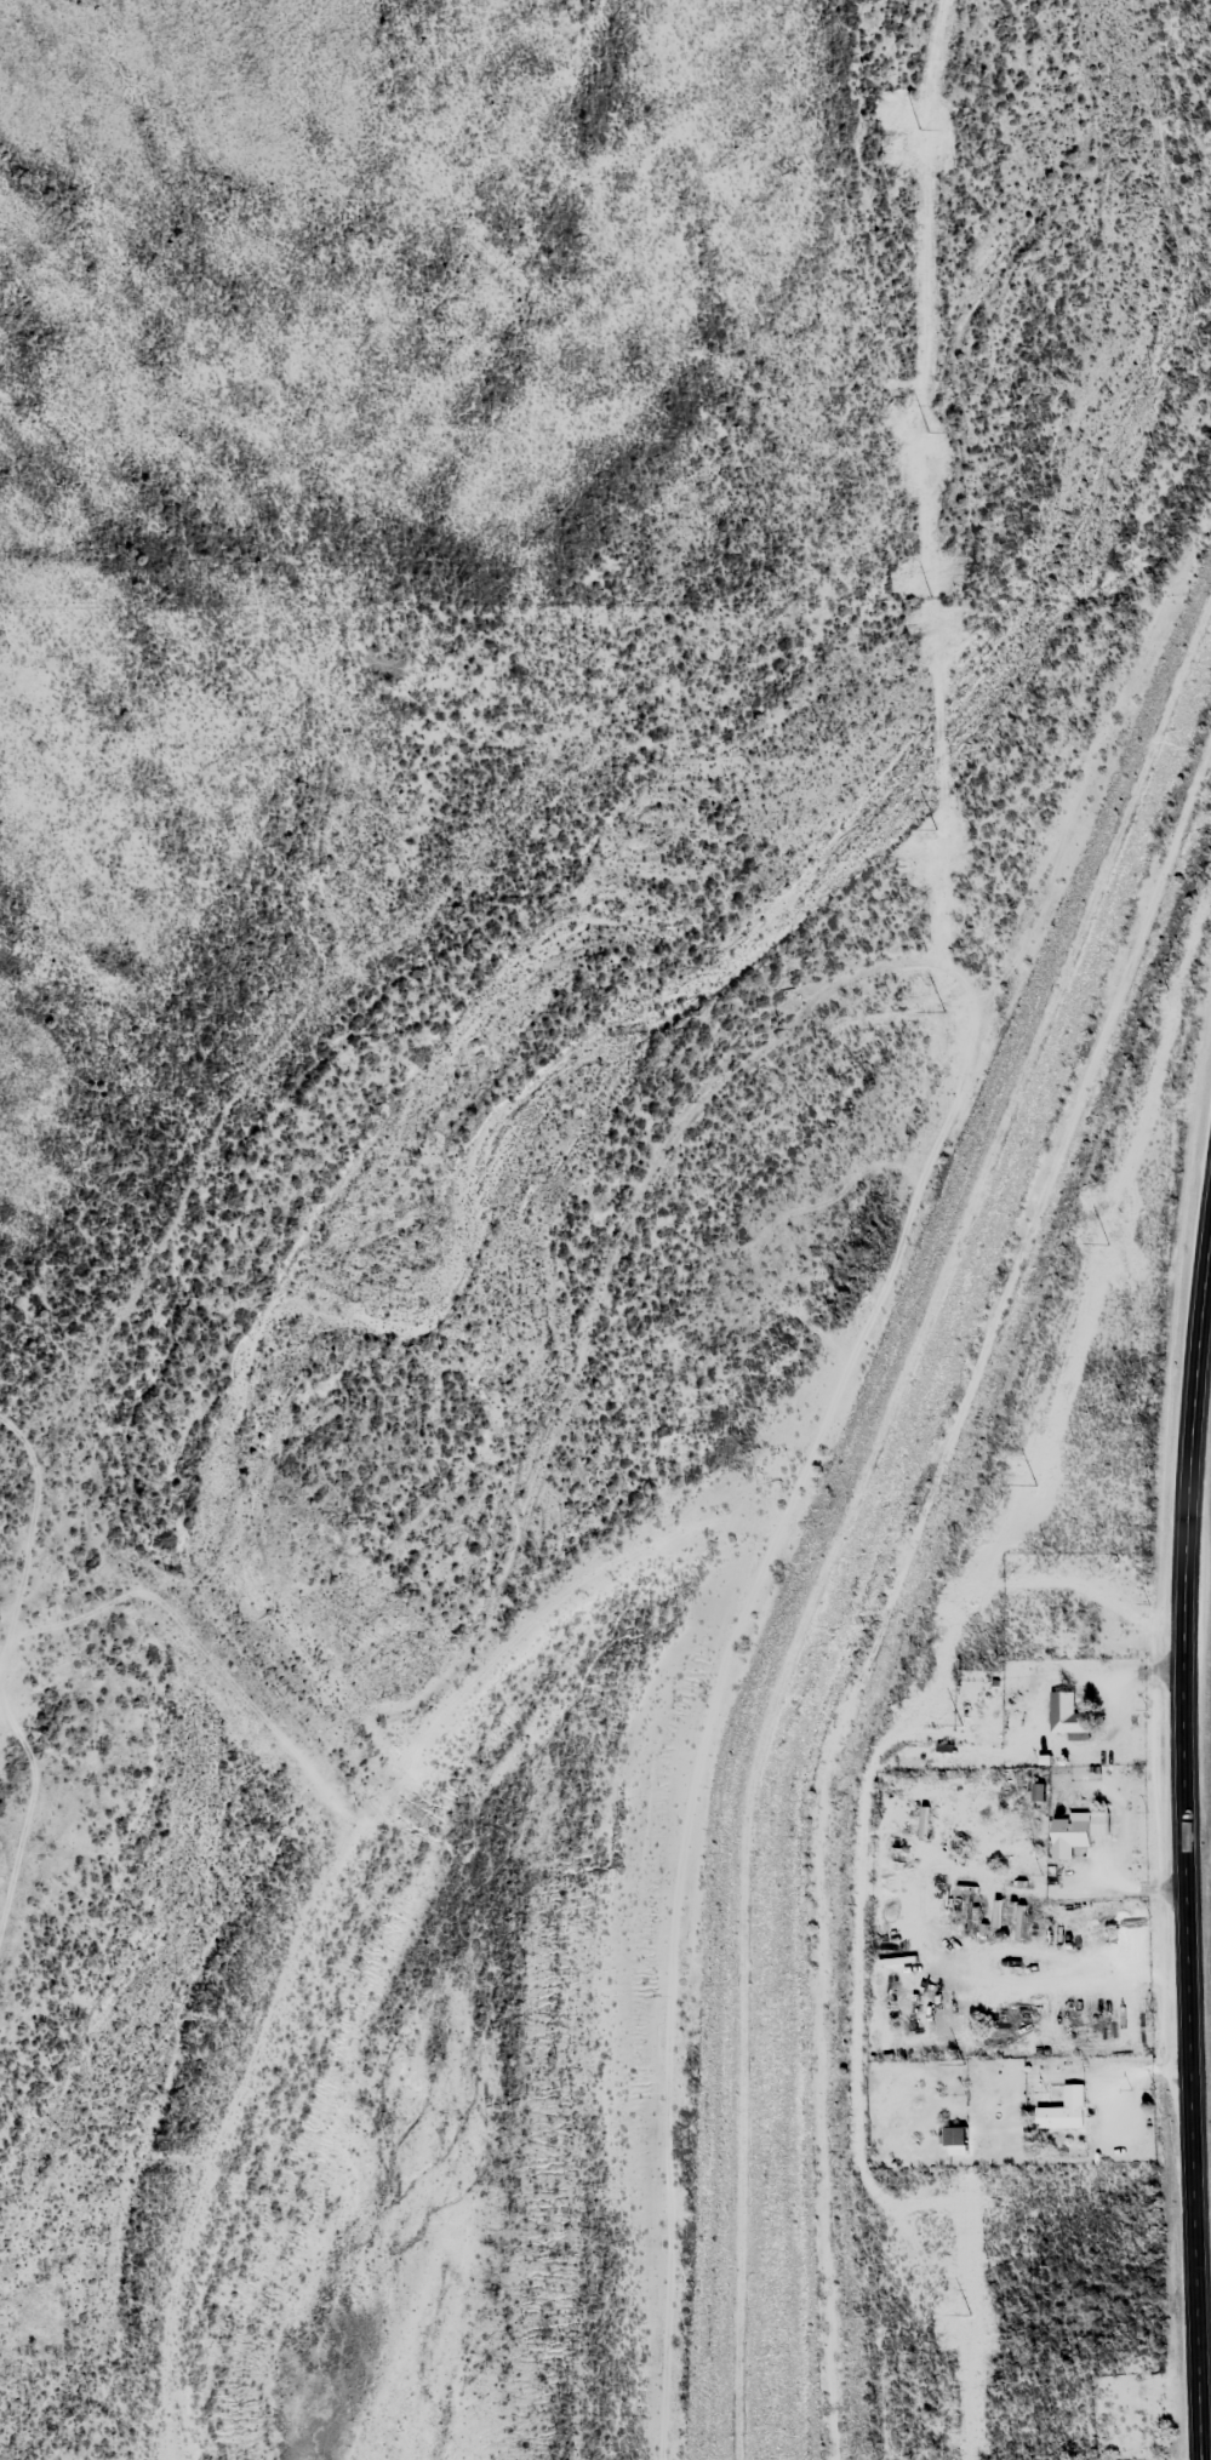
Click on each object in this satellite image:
building: (1067, 1717)
building: (1075, 1831)
road: (1183, 1838)
building: (1063, 2104)
building: (955, 2140)

